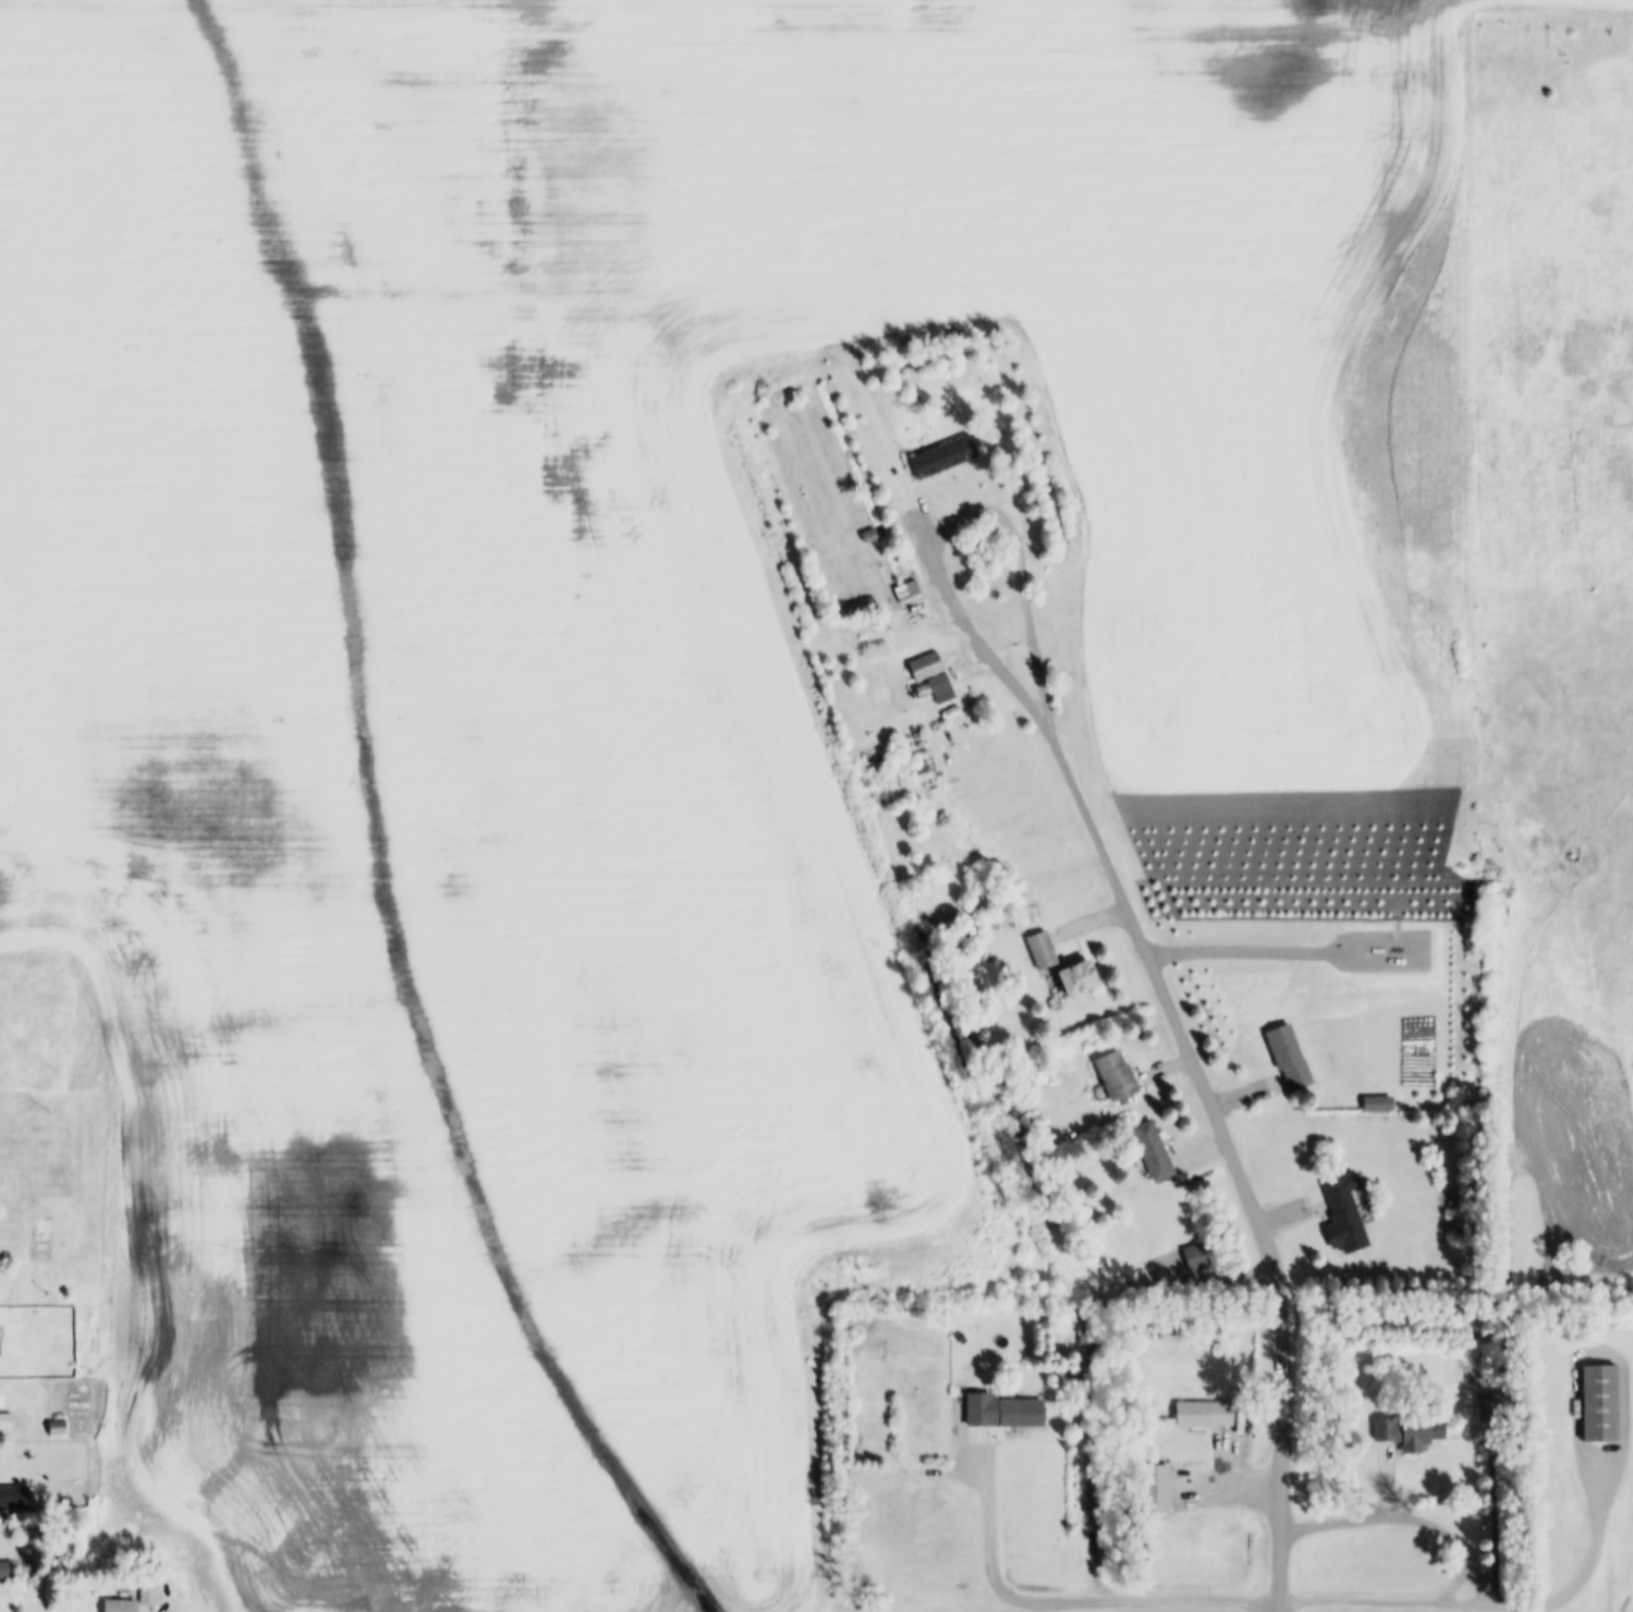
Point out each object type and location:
building: (945, 455)
building: (909, 591)
building: (858, 608)
road: (972, 624)
building: (928, 667)
building: (943, 688)
building: (1044, 951)
building: (1083, 978)
road: (1175, 1013)
building: (1291, 1057)
building: (1118, 1075)
building: (1370, 1106)
building: (1155, 1151)
building: (1349, 1211)
building: (1454, 1223)
building: (1197, 1257)
building: (1087, 1329)
building: (0, 1350)
building: (66, 1372)
building: (3, 1397)
building: (1604, 1403)
building: (1006, 1410)
building: (1206, 1414)
building: (7, 1421)
building: (59, 1427)
building: (1412, 1433)
building: (1159, 1491)
building: (15, 1498)
road: (1596, 1559)
building: (7, 1570)
building: (162, 1591)
building: (148, 1593)
road: (1162, 1602)
building: (123, 1605)

